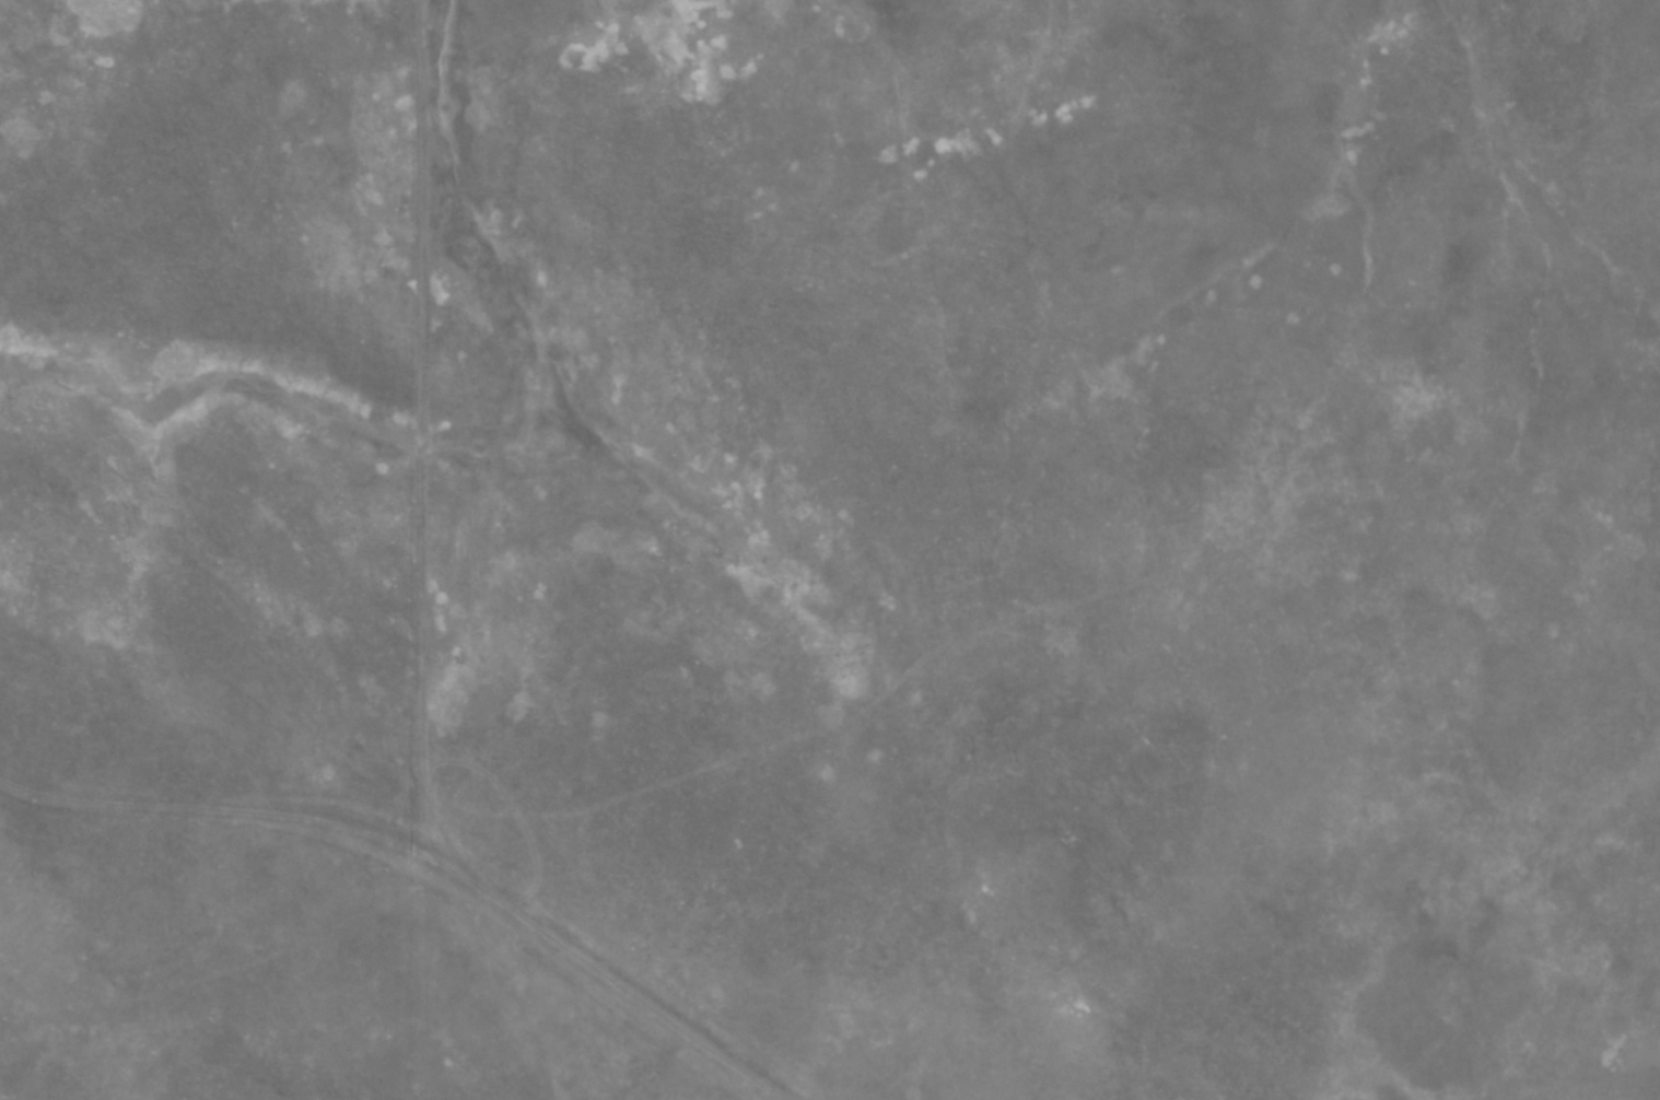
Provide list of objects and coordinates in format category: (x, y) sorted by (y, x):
road: (407, 861)

